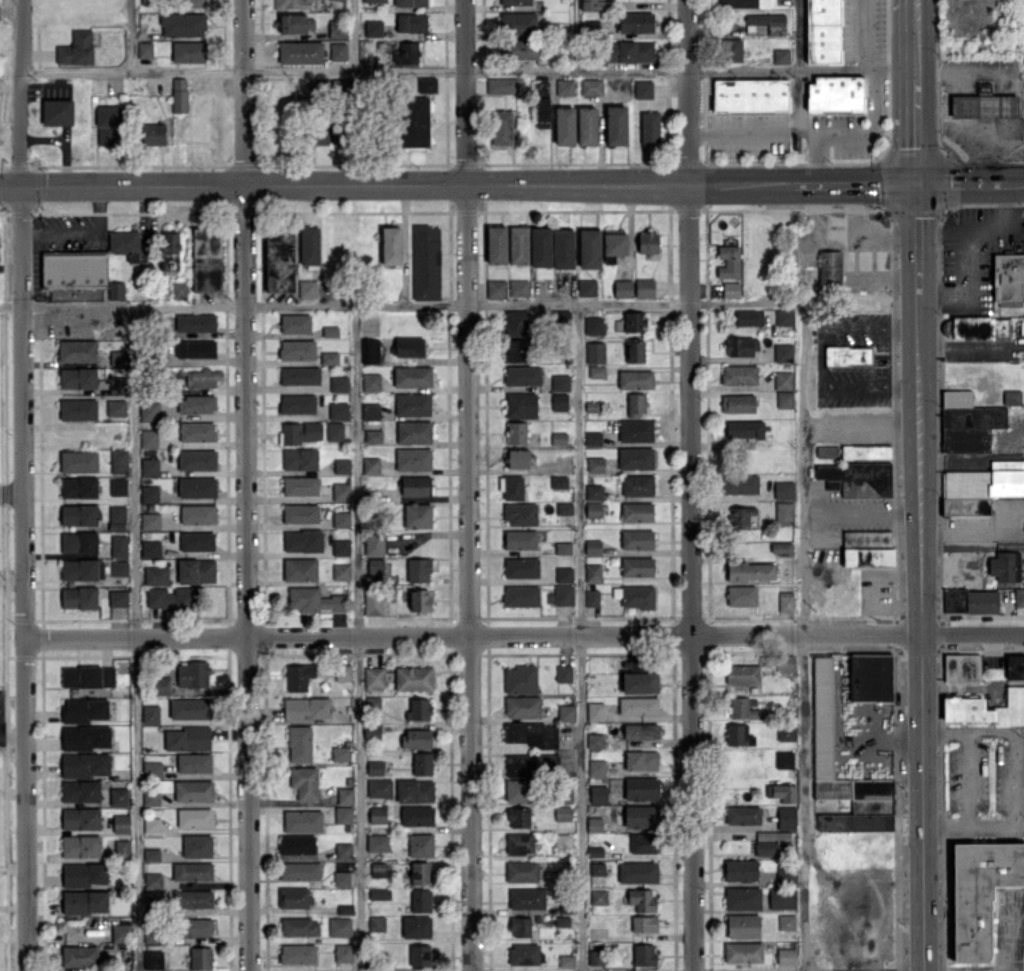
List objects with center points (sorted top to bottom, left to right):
building: (374, 1)
building: (515, 2)
building: (193, 3)
building: (410, 3)
building: (737, 3)
building: (293, 4)
building: (594, 5)
road: (22, 21)
building: (411, 22)
building: (518, 22)
building: (635, 22)
building: (768, 22)
building: (295, 23)
building: (182, 24)
building: (373, 28)
building: (337, 29)
building: (824, 31)
road: (860, 33)
road: (575, 34)
road: (795, 34)
road: (353, 35)
road: (129, 36)
road: (916, 38)
building: (76, 48)
building: (525, 49)
building: (144, 50)
building: (734, 50)
building: (188, 51)
building: (337, 51)
building: (629, 51)
building: (300, 52)
building: (406, 53)
building: (781, 55)
road: (468, 69)
building: (426, 85)
building: (502, 85)
road: (1019, 86)
building: (565, 87)
building: (591, 87)
building: (643, 89)
building: (835, 93)
building: (179, 94)
building: (750, 95)
building: (984, 105)
building: (57, 112)
building: (542, 112)
road: (19, 114)
building: (415, 121)
building: (109, 125)
building: (616, 125)
building: (564, 126)
building: (587, 126)
road: (353, 127)
building: (502, 127)
building: (649, 127)
road: (916, 129)
road: (734, 130)
building: (319, 131)
building: (337, 132)
building: (153, 134)
road: (852, 134)
road: (853, 181)
traffic signals: (916, 181)
road: (961, 181)
road: (1015, 181)
road: (405, 184)
road: (9, 187)
traffic signals: (19, 187)
road: (984, 228)
road: (80, 232)
road: (857, 237)
road: (916, 240)
building: (647, 242)
building: (124, 244)
building: (496, 244)
building: (518, 244)
building: (309, 245)
building: (391, 245)
building: (614, 245)
building: (540, 247)
building: (589, 248)
building: (563, 249)
building: (170, 251)
building: (206, 259)
building: (729, 261)
building: (426, 262)
road: (968, 265)
building: (830, 267)
building: (74, 271)
road: (885, 278)
building: (1009, 279)
building: (518, 287)
building: (587, 287)
building: (644, 287)
building: (307, 288)
building: (496, 288)
building: (623, 288)
building: (731, 289)
building: (115, 290)
building: (179, 290)
road: (411, 303)
road: (10, 306)
building: (748, 317)
building: (784, 317)
building: (634, 321)
building: (516, 322)
building: (195, 323)
building: (295, 323)
building: (593, 325)
building: (977, 327)
building: (330, 331)
building: (742, 345)
building: (408, 346)
building: (195, 348)
building: (296, 349)
road: (964, 349)
building: (77, 350)
building: (515, 350)
building: (369, 351)
building: (634, 351)
building: (595, 352)
building: (783, 352)
building: (848, 355)
building: (118, 358)
building: (329, 358)
road: (820, 359)
building: (597, 371)
building: (739, 374)
building: (299, 375)
building: (522, 375)
building: (412, 376)
building: (77, 377)
building: (203, 377)
building: (635, 379)
building: (783, 380)
building: (370, 382)
building: (560, 382)
building: (338, 383)
building: (117, 384)
building: (1012, 396)
building: (784, 399)
building: (559, 401)
building: (196, 403)
building: (297, 403)
building: (737, 403)
building: (412, 404)
building: (635, 404)
building: (520, 405)
building: (592, 406)
building: (115, 407)
building: (78, 409)
building: (150, 410)
building: (338, 410)
building: (370, 411)
building: (967, 422)
building: (745, 429)
building: (635, 430)
building: (197, 431)
building: (334, 431)
building: (300, 432)
building: (413, 432)
building: (516, 432)
building: (372, 435)
building: (148, 438)
building: (558, 438)
building: (592, 438)
building: (827, 451)
building: (866, 451)
building: (517, 458)
building: (635, 458)
building: (300, 459)
building: (413, 459)
building: (196, 460)
building: (78, 461)
building: (118, 461)
building: (595, 464)
building: (370, 465)
building: (149, 466)
building: (341, 466)
building: (856, 478)
building: (559, 482)
building: (739, 483)
road: (245, 485)
building: (300, 485)
building: (416, 485)
road: (468, 485)
building: (637, 485)
road: (690, 485)
building: (78, 487)
building: (117, 487)
building: (196, 487)
building: (511, 487)
building: (980, 487)
building: (783, 489)
road: (10, 491)
building: (341, 491)
building: (593, 491)
building: (149, 493)
building: (564, 508)
building: (593, 509)
road: (867, 511)
building: (636, 512)
building: (300, 513)
building: (784, 513)
building: (78, 514)
building: (197, 514)
building: (520, 514)
building: (417, 515)
building: (740, 516)
building: (116, 517)
building: (341, 519)
building: (150, 521)
road: (955, 530)
building: (520, 539)
building: (636, 539)
building: (196, 541)
building: (302, 541)
building: (78, 542)
building: (373, 544)
building: (118, 545)
building: (592, 546)
building: (340, 547)
building: (562, 547)
road: (971, 547)
building: (150, 548)
building: (781, 548)
building: (867, 548)
building: (637, 566)
building: (1005, 566)
building: (521, 567)
building: (119, 568)
building: (82, 569)
building: (299, 569)
building: (379, 569)
building: (418, 570)
building: (750, 570)
building: (196, 571)
building: (341, 571)
building: (592, 572)
building: (563, 574)
building: (155, 575)
road: (21, 579)
building: (520, 595)
building: (563, 595)
building: (741, 595)
building: (1018, 596)
building: (78, 597)
building: (118, 597)
building: (170, 597)
building: (592, 597)
building: (637, 597)
building: (313, 600)
building: (420, 601)
building: (785, 601)
building: (971, 601)
building: (373, 603)
road: (919, 634)
road: (522, 636)
road: (581, 636)
road: (803, 636)
road: (359, 637)
road: (136, 638)
building: (784, 663)
building: (635, 664)
building: (962, 667)
building: (1015, 667)
building: (342, 672)
building: (563, 673)
building: (192, 674)
building: (742, 674)
building: (87, 676)
building: (298, 676)
building: (373, 677)
building: (870, 677)
building: (413, 678)
building: (520, 679)
building: (639, 682)
building: (161, 685)
building: (372, 702)
building: (522, 706)
building: (638, 706)
building: (190, 708)
building: (742, 708)
building: (984, 708)
building: (305, 709)
building: (418, 709)
building: (595, 711)
building: (567, 712)
building: (150, 714)
building: (822, 717)
building: (371, 731)
building: (640, 731)
building: (786, 732)
building: (530, 734)
road: (1011, 734)
road: (11, 735)
building: (738, 735)
building: (85, 737)
building: (416, 738)
building: (187, 739)
building: (594, 740)
building: (299, 744)
building: (340, 753)
building: (784, 759)
building: (641, 760)
building: (193, 763)
building: (422, 763)
building: (85, 764)
building: (374, 768)
building: (596, 768)
building: (152, 769)
road: (968, 777)
building: (304, 782)
building: (379, 787)
building: (641, 788)
building: (193, 790)
building: (518, 790)
building: (80, 791)
building: (414, 791)
building: (782, 792)
building: (566, 794)
building: (597, 794)
building: (344, 795)
building: (118, 796)
building: (150, 797)
building: (562, 813)
building: (343, 814)
building: (377, 814)
building: (743, 814)
building: (417, 815)
building: (640, 816)
building: (194, 817)
building: (518, 817)
building: (786, 817)
building: (80, 818)
building: (302, 821)
building: (121, 823)
building: (594, 824)
road: (969, 824)
building: (151, 825)
building: (562, 840)
building: (377, 843)
building: (642, 843)
building: (773, 843)
building: (296, 844)
building: (519, 844)
building: (420, 845)
building: (80, 846)
building: (196, 846)
building: (118, 847)
building: (343, 850)
building: (151, 854)
building: (597, 868)
building: (377, 869)
building: (740, 870)
building: (192, 871)
building: (299, 871)
building: (521, 871)
building: (638, 872)
building: (420, 873)
building: (785, 873)
building: (83, 874)
building: (341, 878)
building: (379, 893)
building: (980, 893)
building: (598, 896)
building: (294, 897)
building: (781, 897)
building: (526, 898)
building: (742, 898)
building: (192, 899)
building: (420, 900)
building: (641, 900)
building: (84, 902)
building: (345, 909)
building: (786, 921)
building: (376, 923)
building: (644, 923)
building: (299, 926)
building: (339, 926)
building: (416, 926)
building: (520, 926)
building: (743, 926)
building: (195, 927)
road: (1011, 931)
building: (120, 932)
building: (343, 952)
building: (743, 952)
building: (297, 954)
building: (525, 954)
building: (644, 954)
building: (420, 955)
building: (79, 956)
building: (786, 956)
building: (595, 957)
building: (200, 958)
building: (152, 959)
building: (566, 960)
road: (937, 970)

